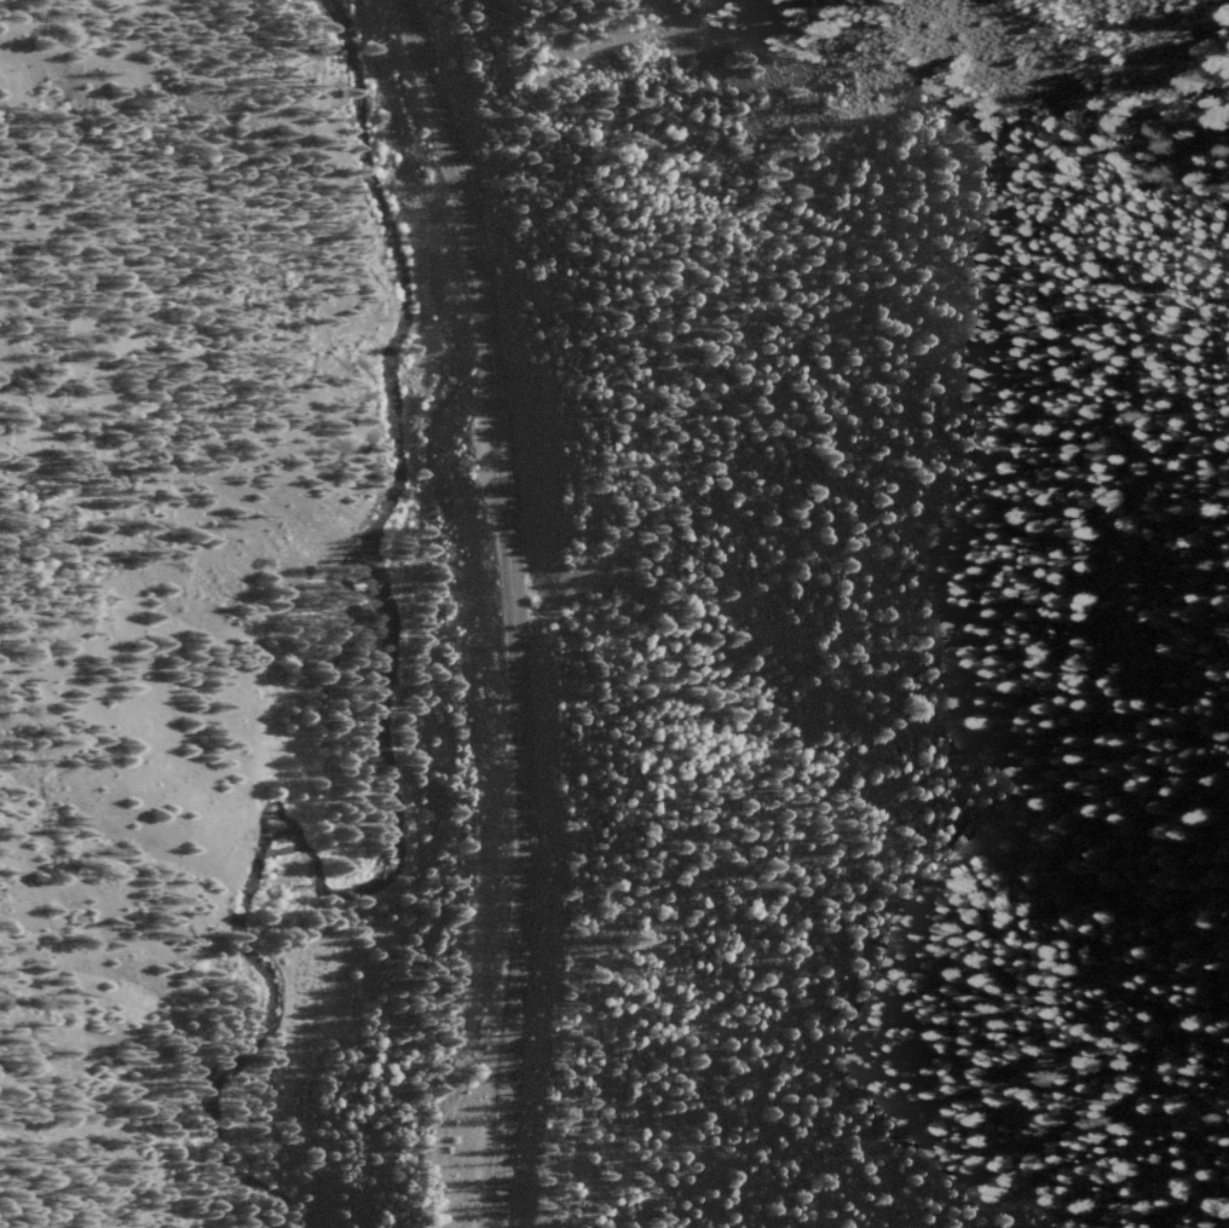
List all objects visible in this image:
road: (510, 609)

